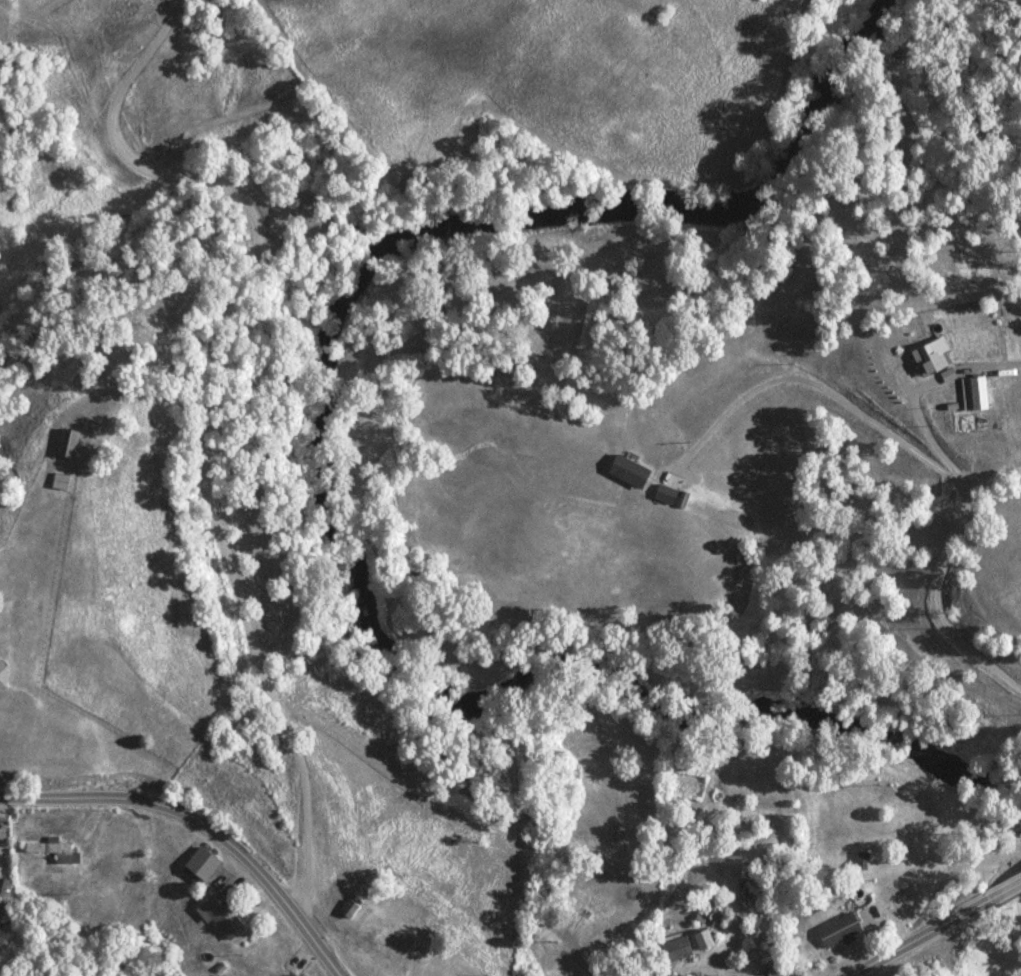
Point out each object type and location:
building: (930, 359)
building: (974, 394)
road: (205, 424)
building: (68, 444)
river: (304, 476)
building: (60, 482)
road: (949, 551)
building: (3, 676)
road: (201, 823)
building: (201, 865)
building: (332, 894)
building: (350, 907)
building: (222, 915)
building: (840, 930)
road: (941, 931)
building: (404, 943)
building: (677, 948)
building: (393, 964)

